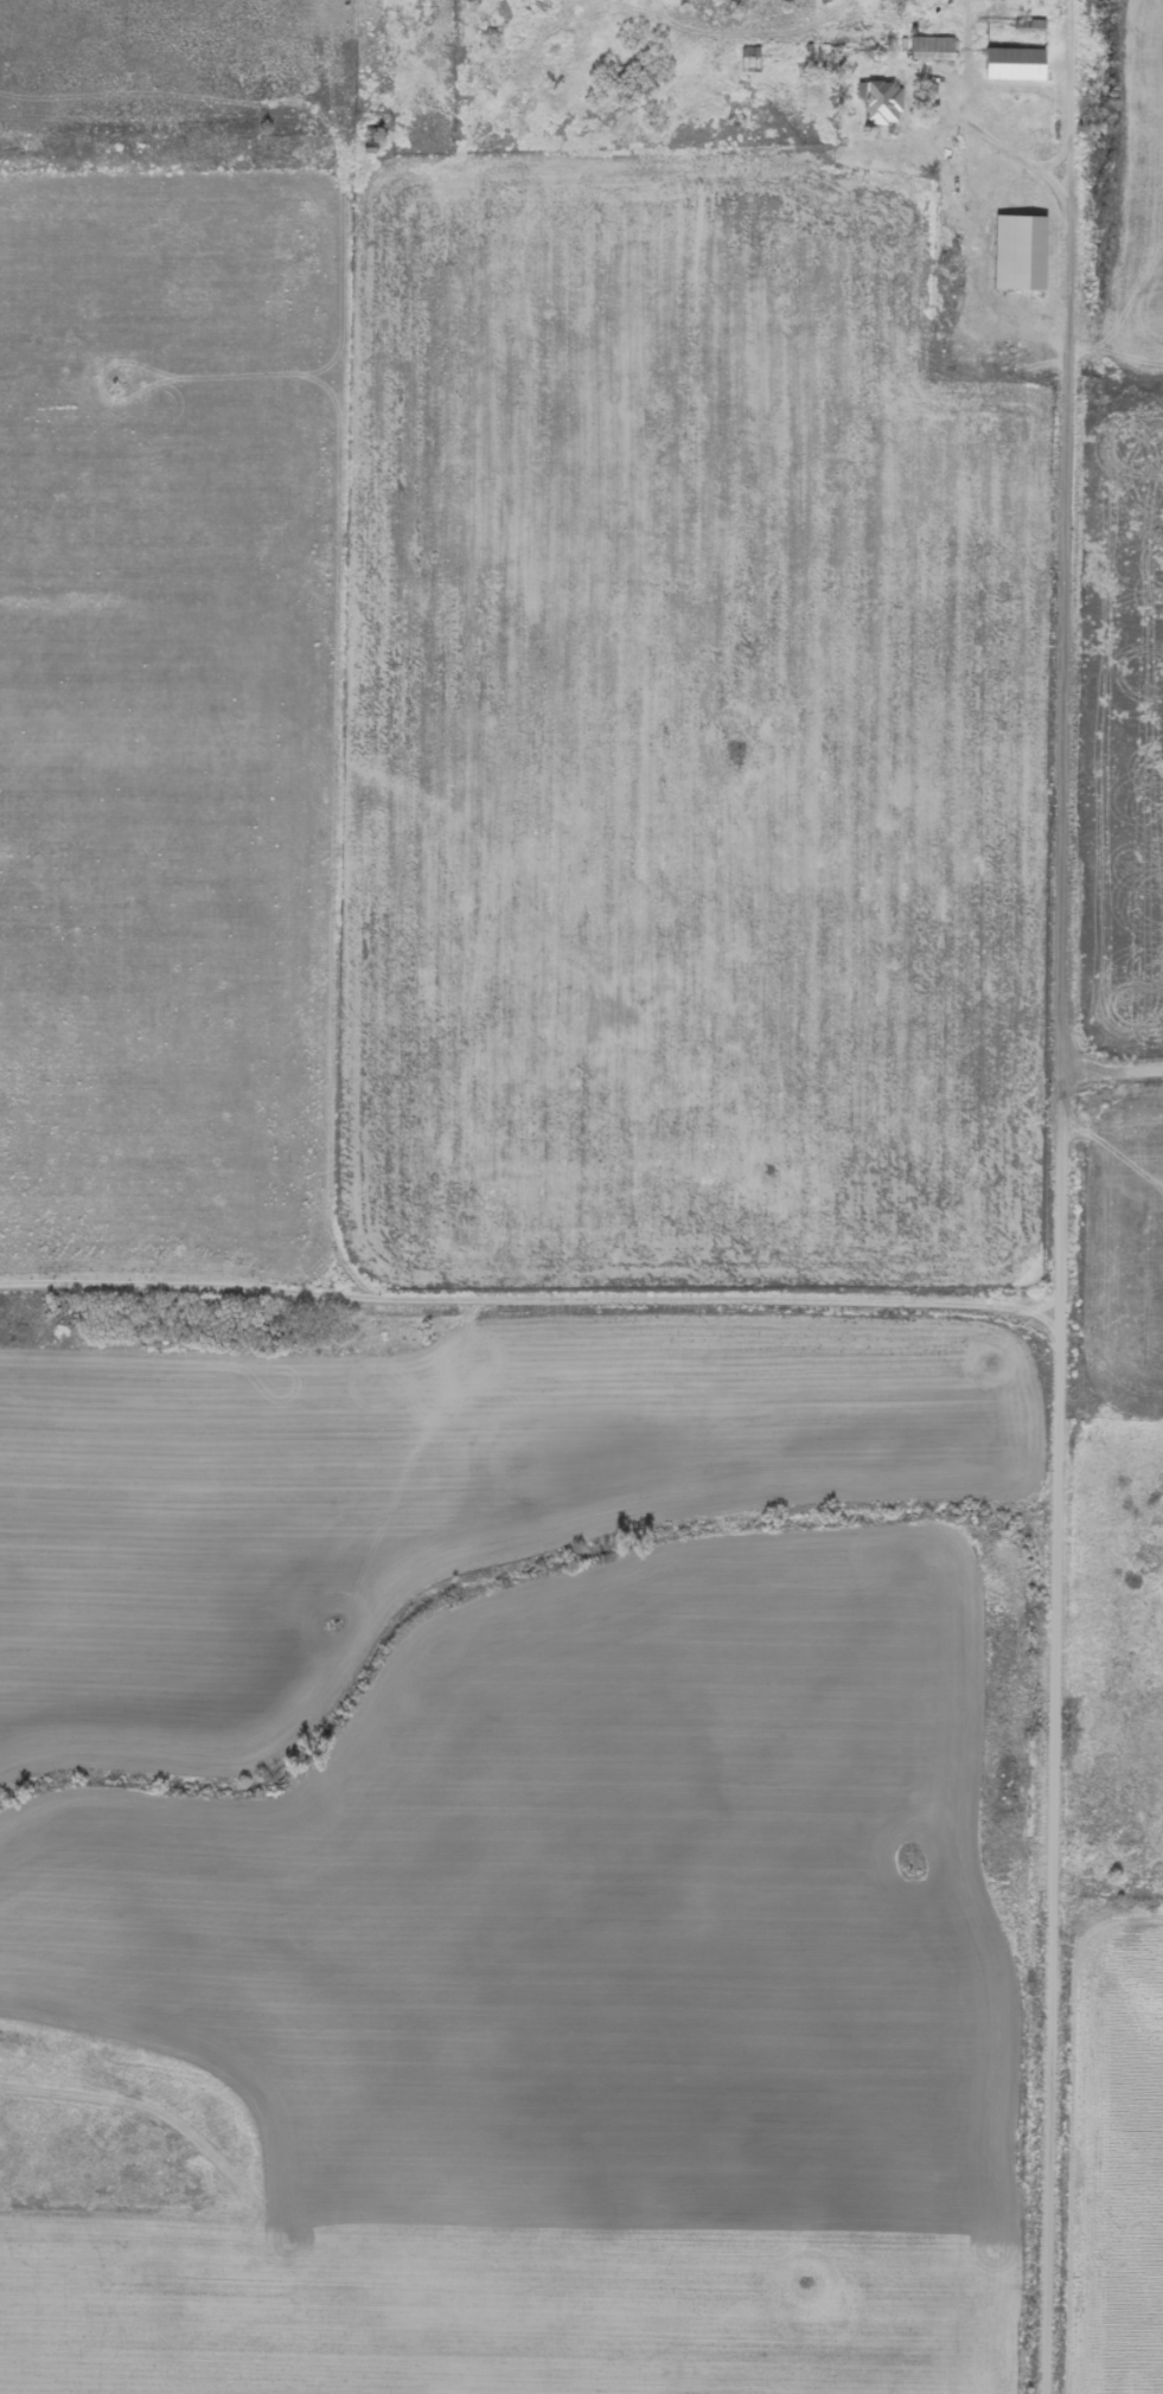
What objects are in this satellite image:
building: (934, 50)
building: (1017, 65)
building: (884, 103)
road: (754, 185)
building: (1022, 254)
road: (1113, 1068)
road: (1062, 1196)
road: (531, 1297)

